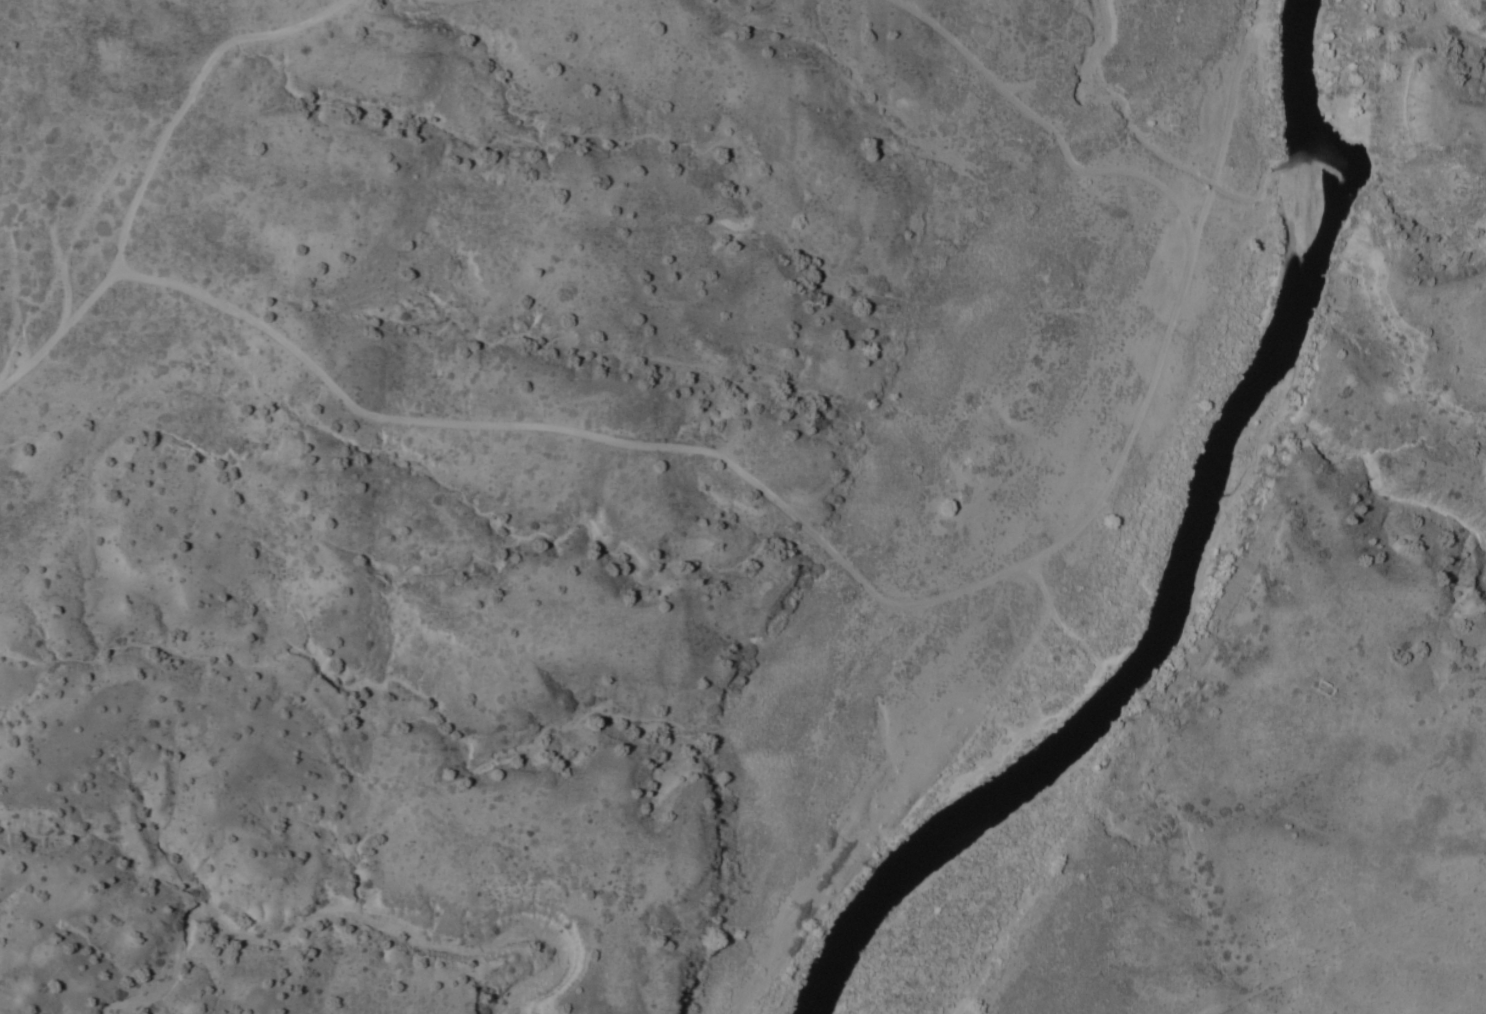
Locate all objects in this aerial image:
road: (466, 475)
river: (1186, 569)

